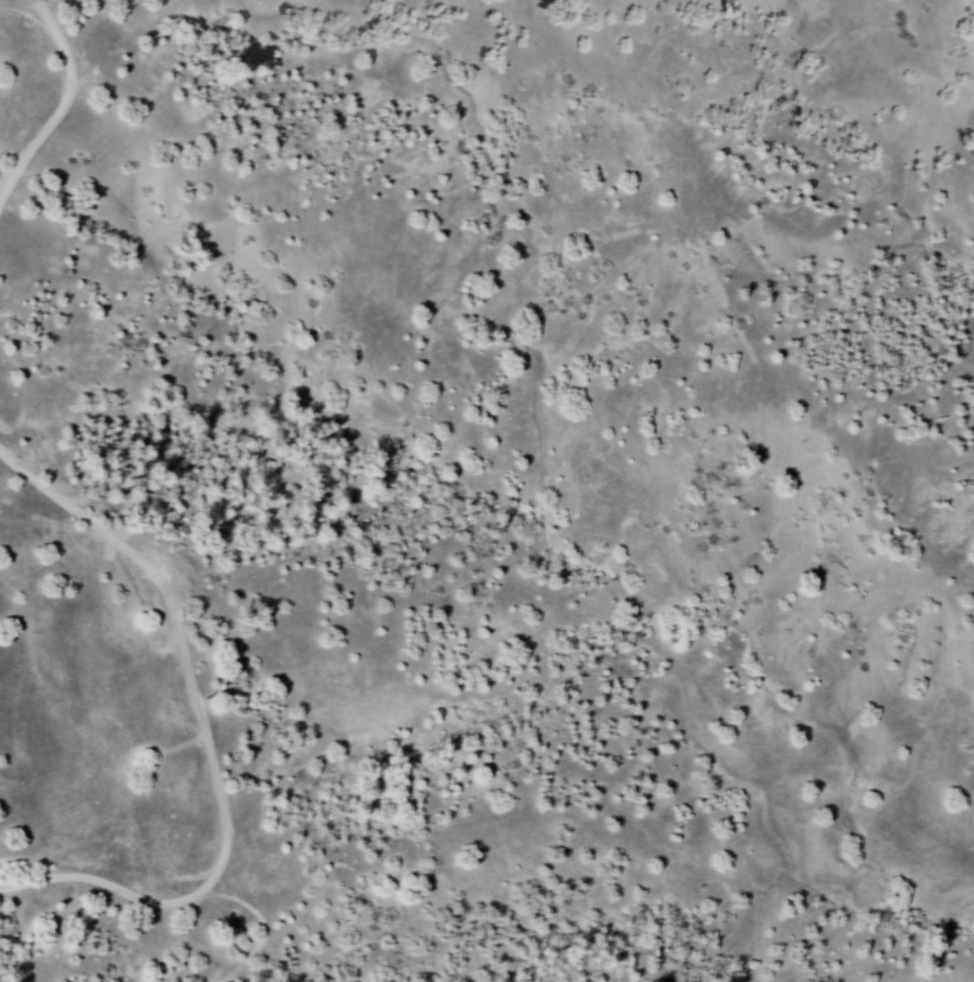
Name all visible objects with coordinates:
road: (69, 115)
road: (213, 730)

